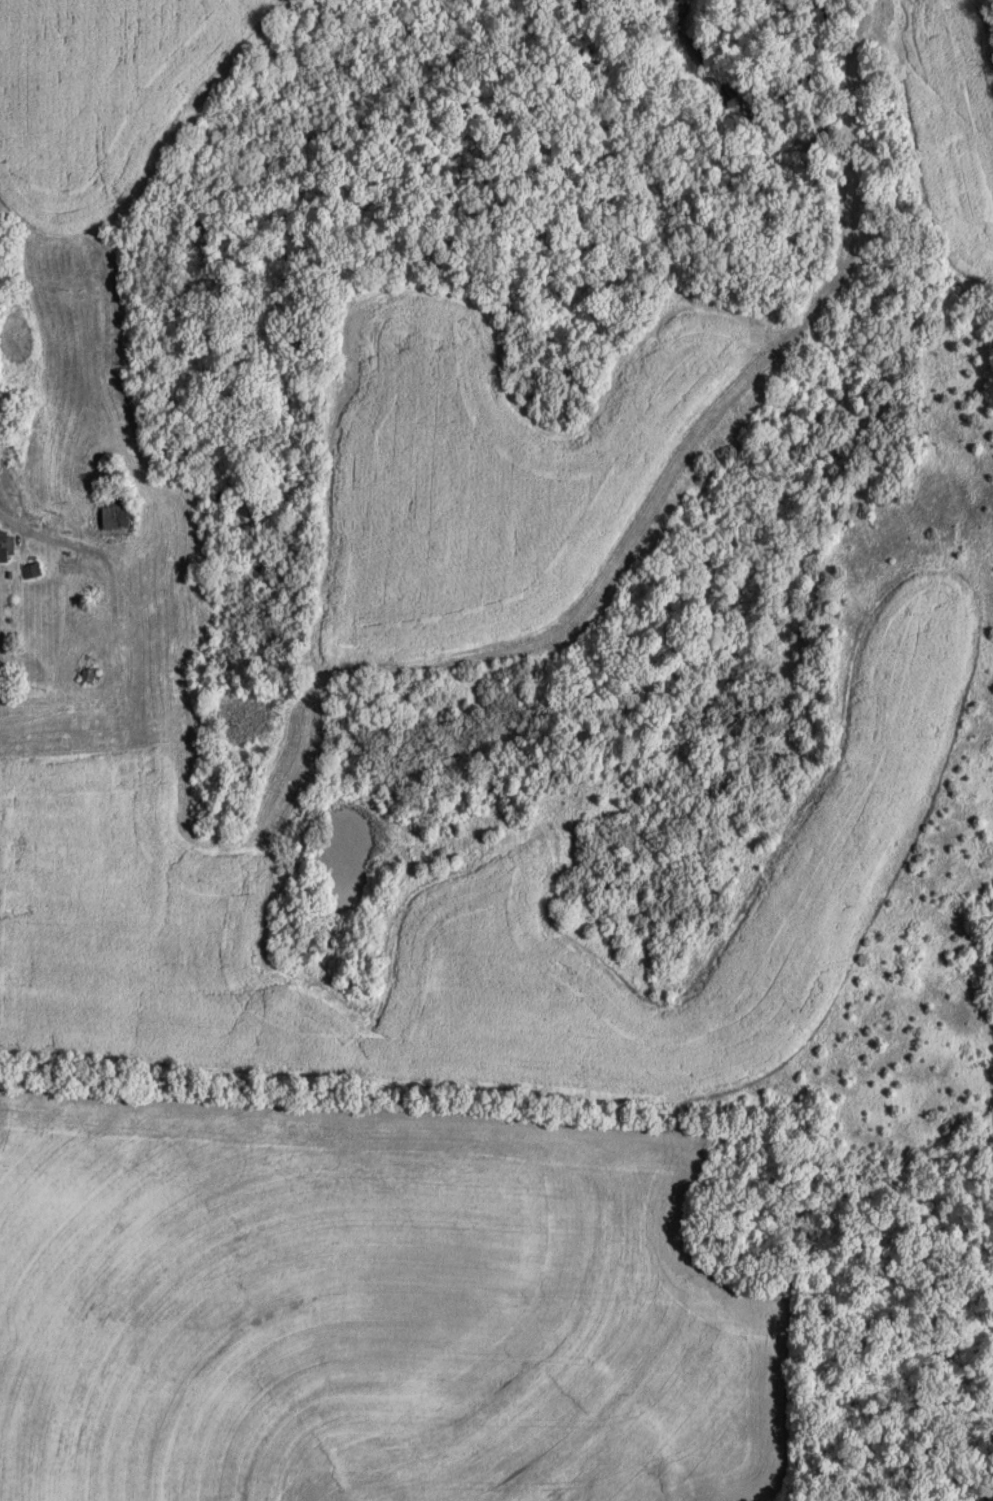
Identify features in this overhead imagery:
building: (0, 457)
building: (6, 547)
road: (93, 550)
building: (31, 569)
building: (88, 676)
crop: (378, 1312)

